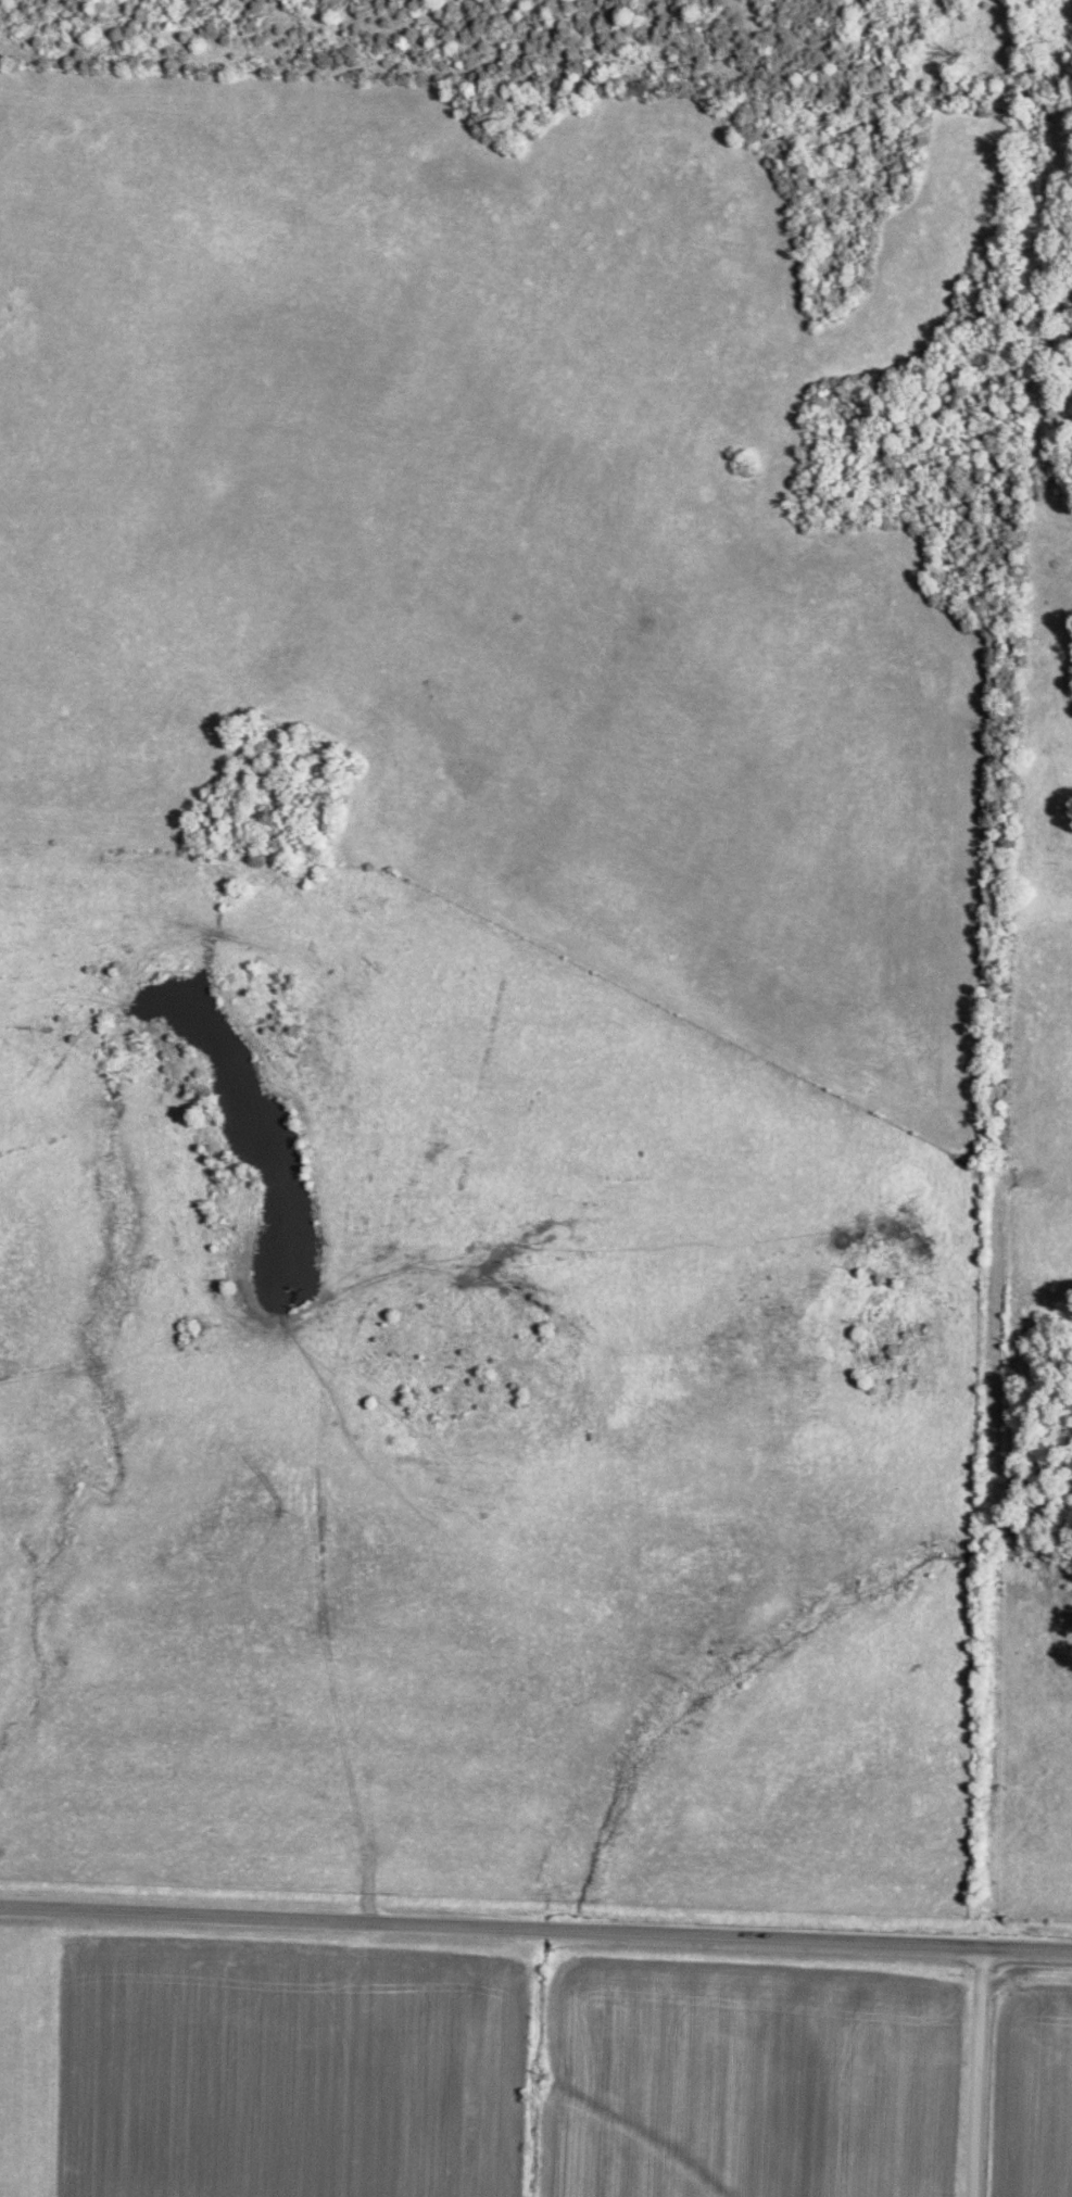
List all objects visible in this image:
road: (535, 1931)
road: (978, 2073)

